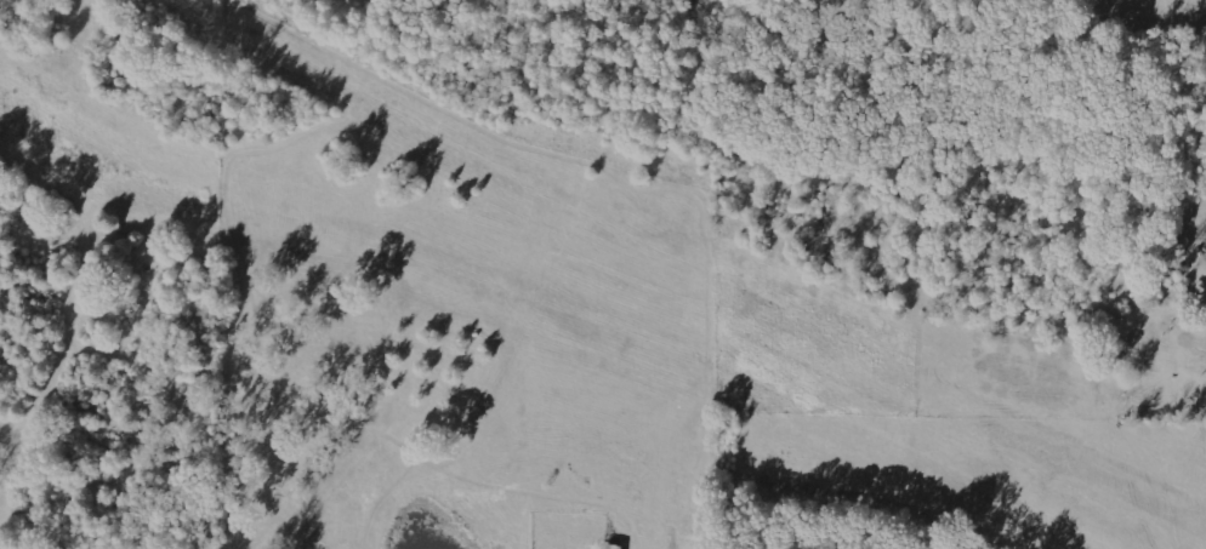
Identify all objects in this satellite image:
building: (194, 387)
building: (614, 547)

